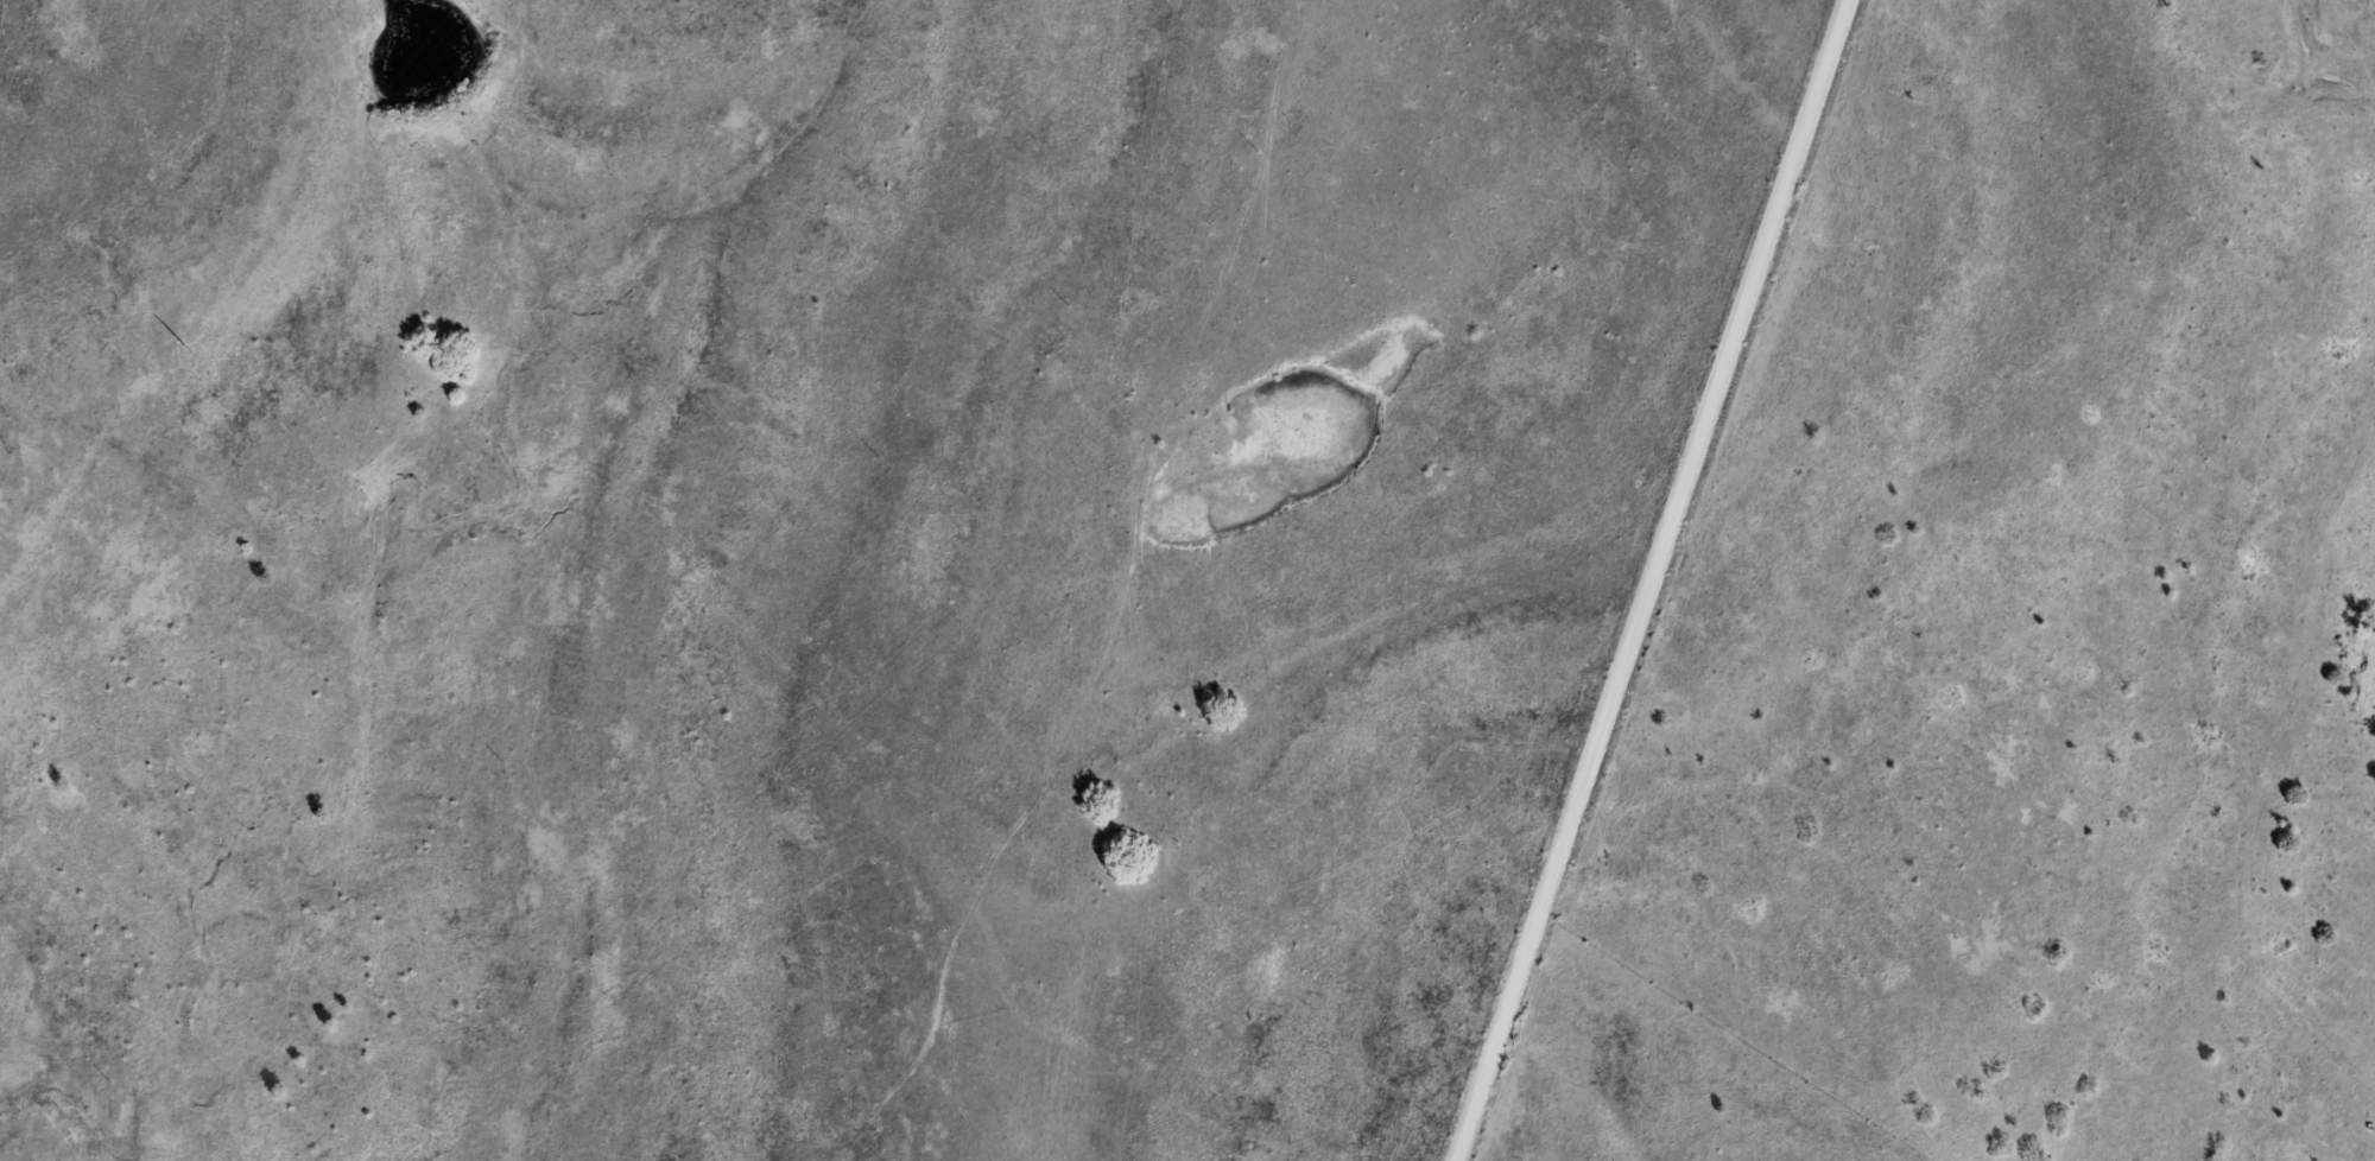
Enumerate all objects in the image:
power tower: (188, 345)
road: (1646, 580)

